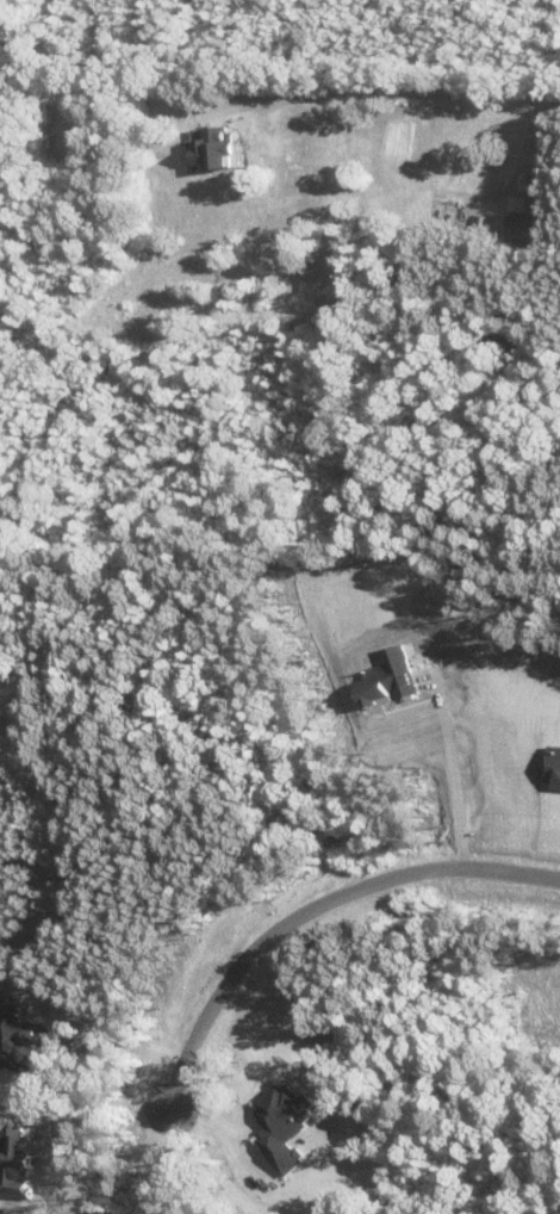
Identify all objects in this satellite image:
building: (522, 228)
road: (317, 910)
road: (162, 1158)

